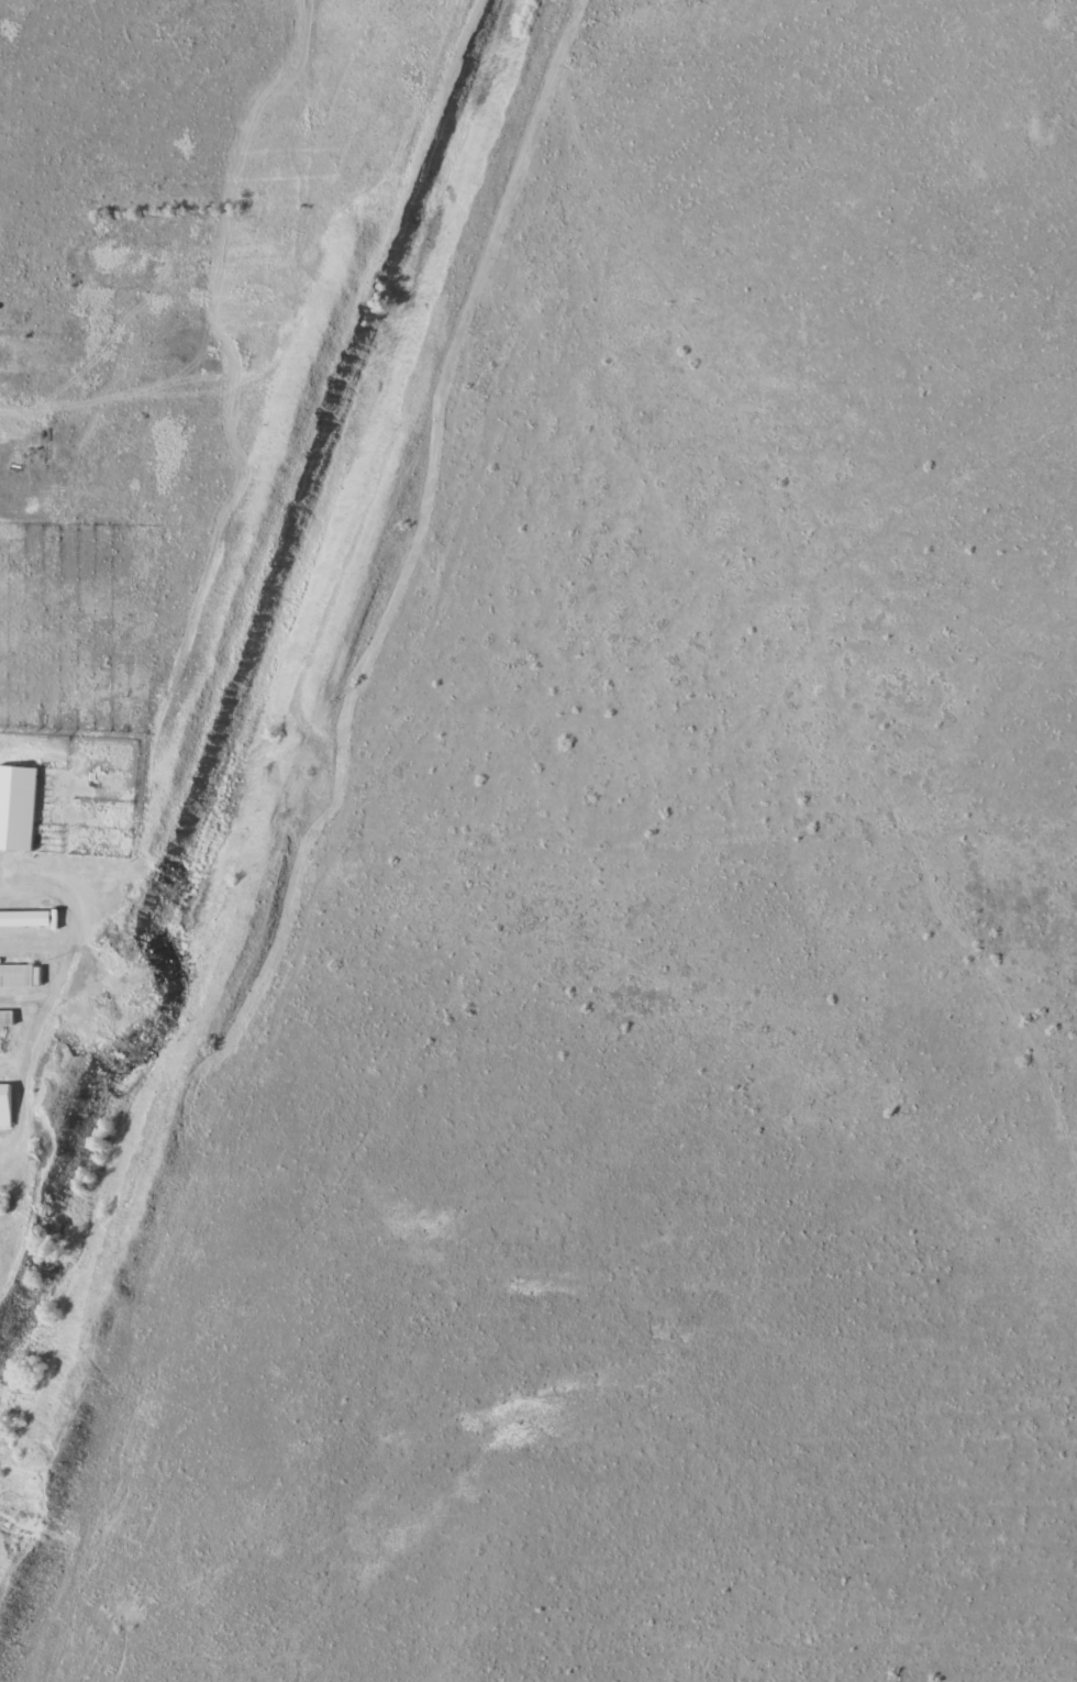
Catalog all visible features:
railway: (265, 759)
building: (18, 807)
building: (30, 918)
building: (20, 975)
building: (7, 1018)
building: (5, 1105)

